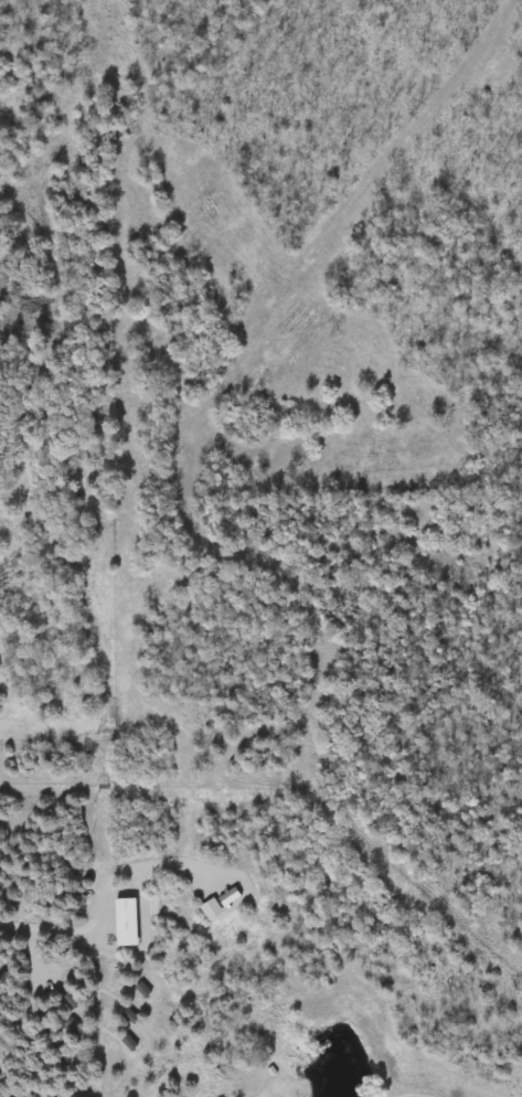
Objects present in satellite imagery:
road: (129, 866)
road: (100, 971)

